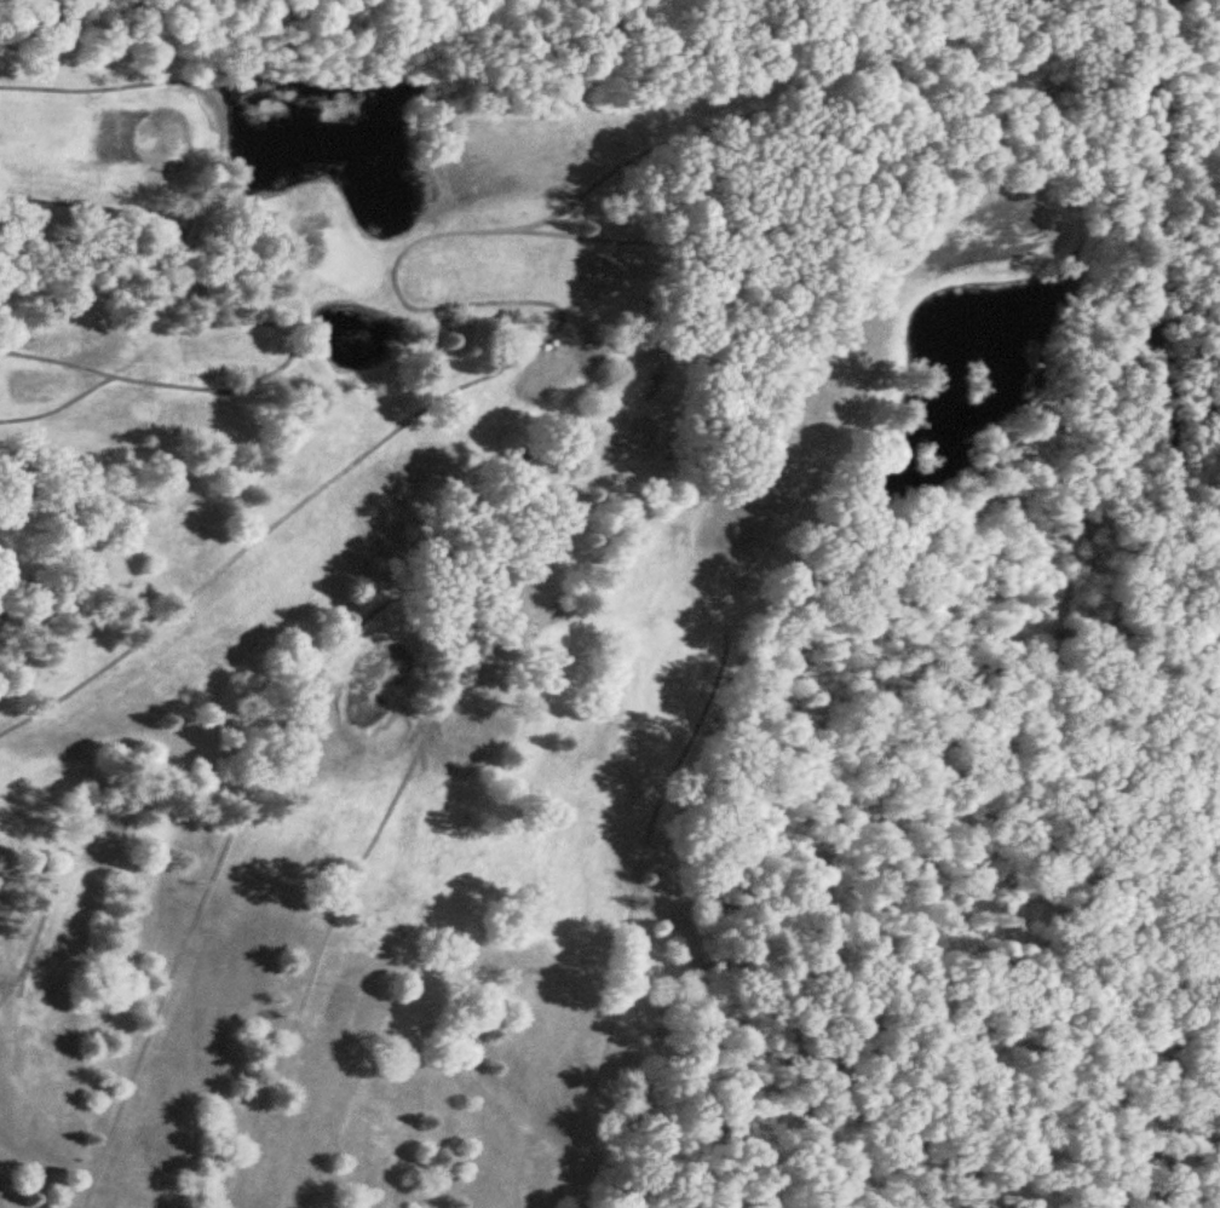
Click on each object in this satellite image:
road: (858, 139)
park: (580, 634)

